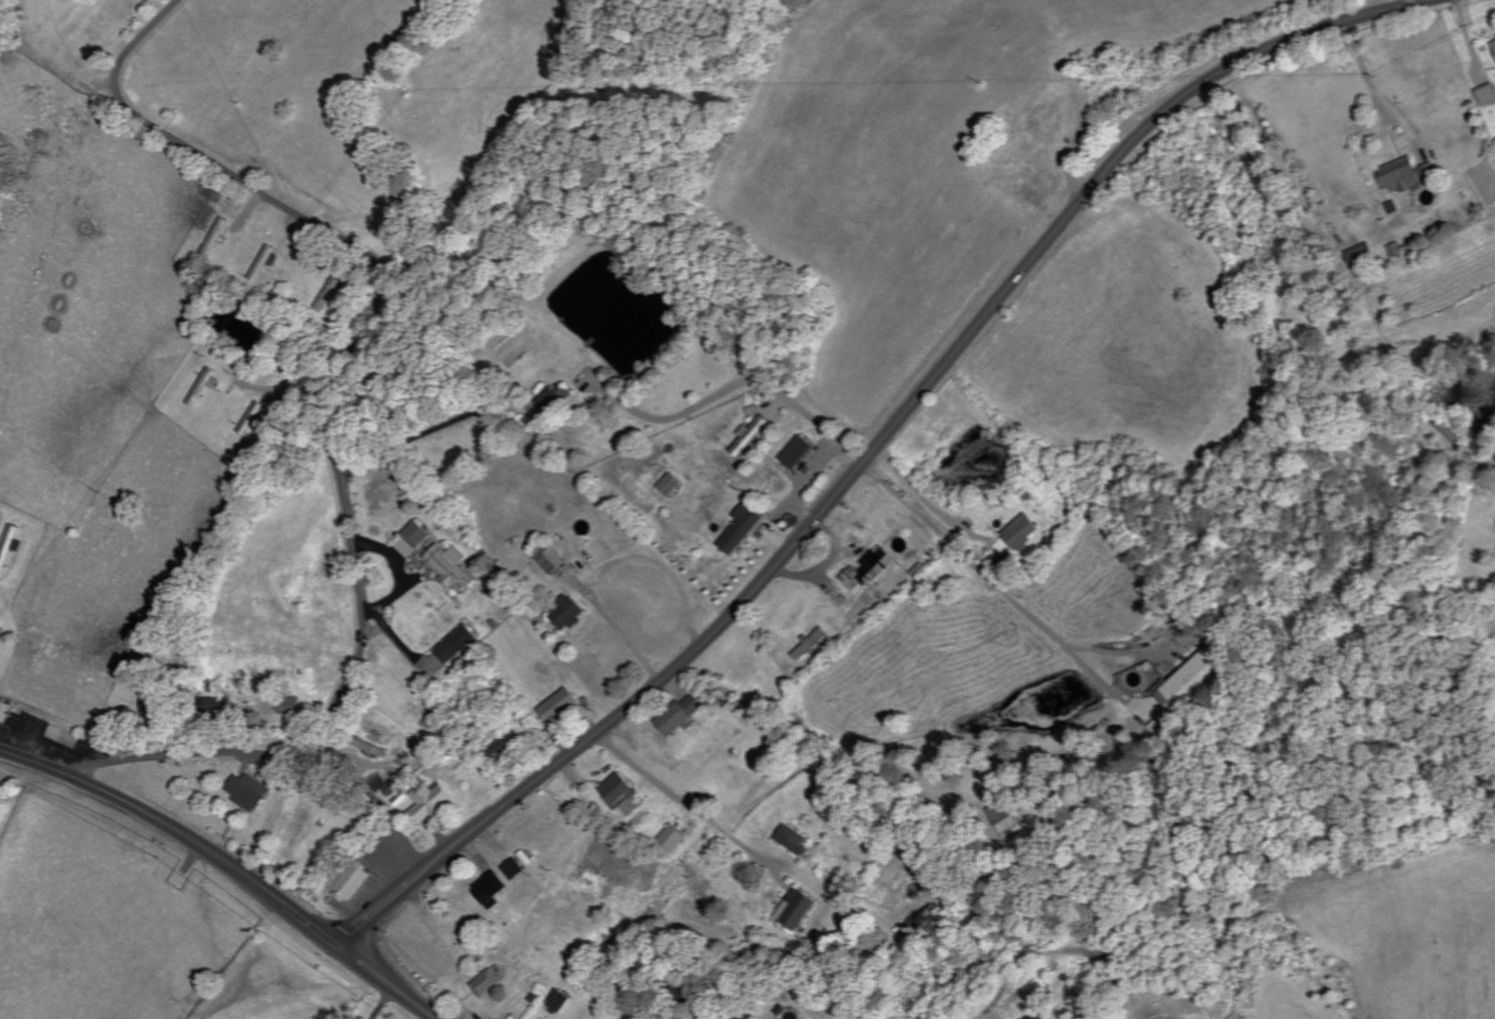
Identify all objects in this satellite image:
building: (1494, 42)
building: (1489, 96)
building: (1403, 175)
building: (218, 236)
building: (1401, 250)
building: (1367, 257)
building: (267, 263)
road: (378, 309)
building: (204, 387)
building: (557, 399)
road: (690, 409)
road: (819, 425)
building: (751, 436)
road: (873, 449)
building: (798, 452)
building: (671, 485)
building: (743, 529)
building: (1025, 532)
building: (419, 534)
building: (406, 547)
building: (9, 548)
building: (554, 561)
building: (452, 565)
building: (871, 570)
road: (999, 584)
building: (569, 613)
building: (0, 621)
building: (2, 634)
building: (811, 644)
building: (457, 645)
building: (1191, 688)
building: (562, 707)
building: (5, 709)
building: (682, 715)
parking lot: (46, 741)
road: (31, 745)
road: (267, 756)
building: (620, 789)
building: (250, 792)
road: (686, 801)
building: (431, 804)
building: (629, 807)
building: (1008, 819)
building: (674, 838)
building: (796, 840)
road: (230, 863)
road: (628, 864)
building: (516, 870)
building: (350, 882)
building: (494, 890)
building: (796, 910)
building: (488, 983)
building: (561, 1001)

